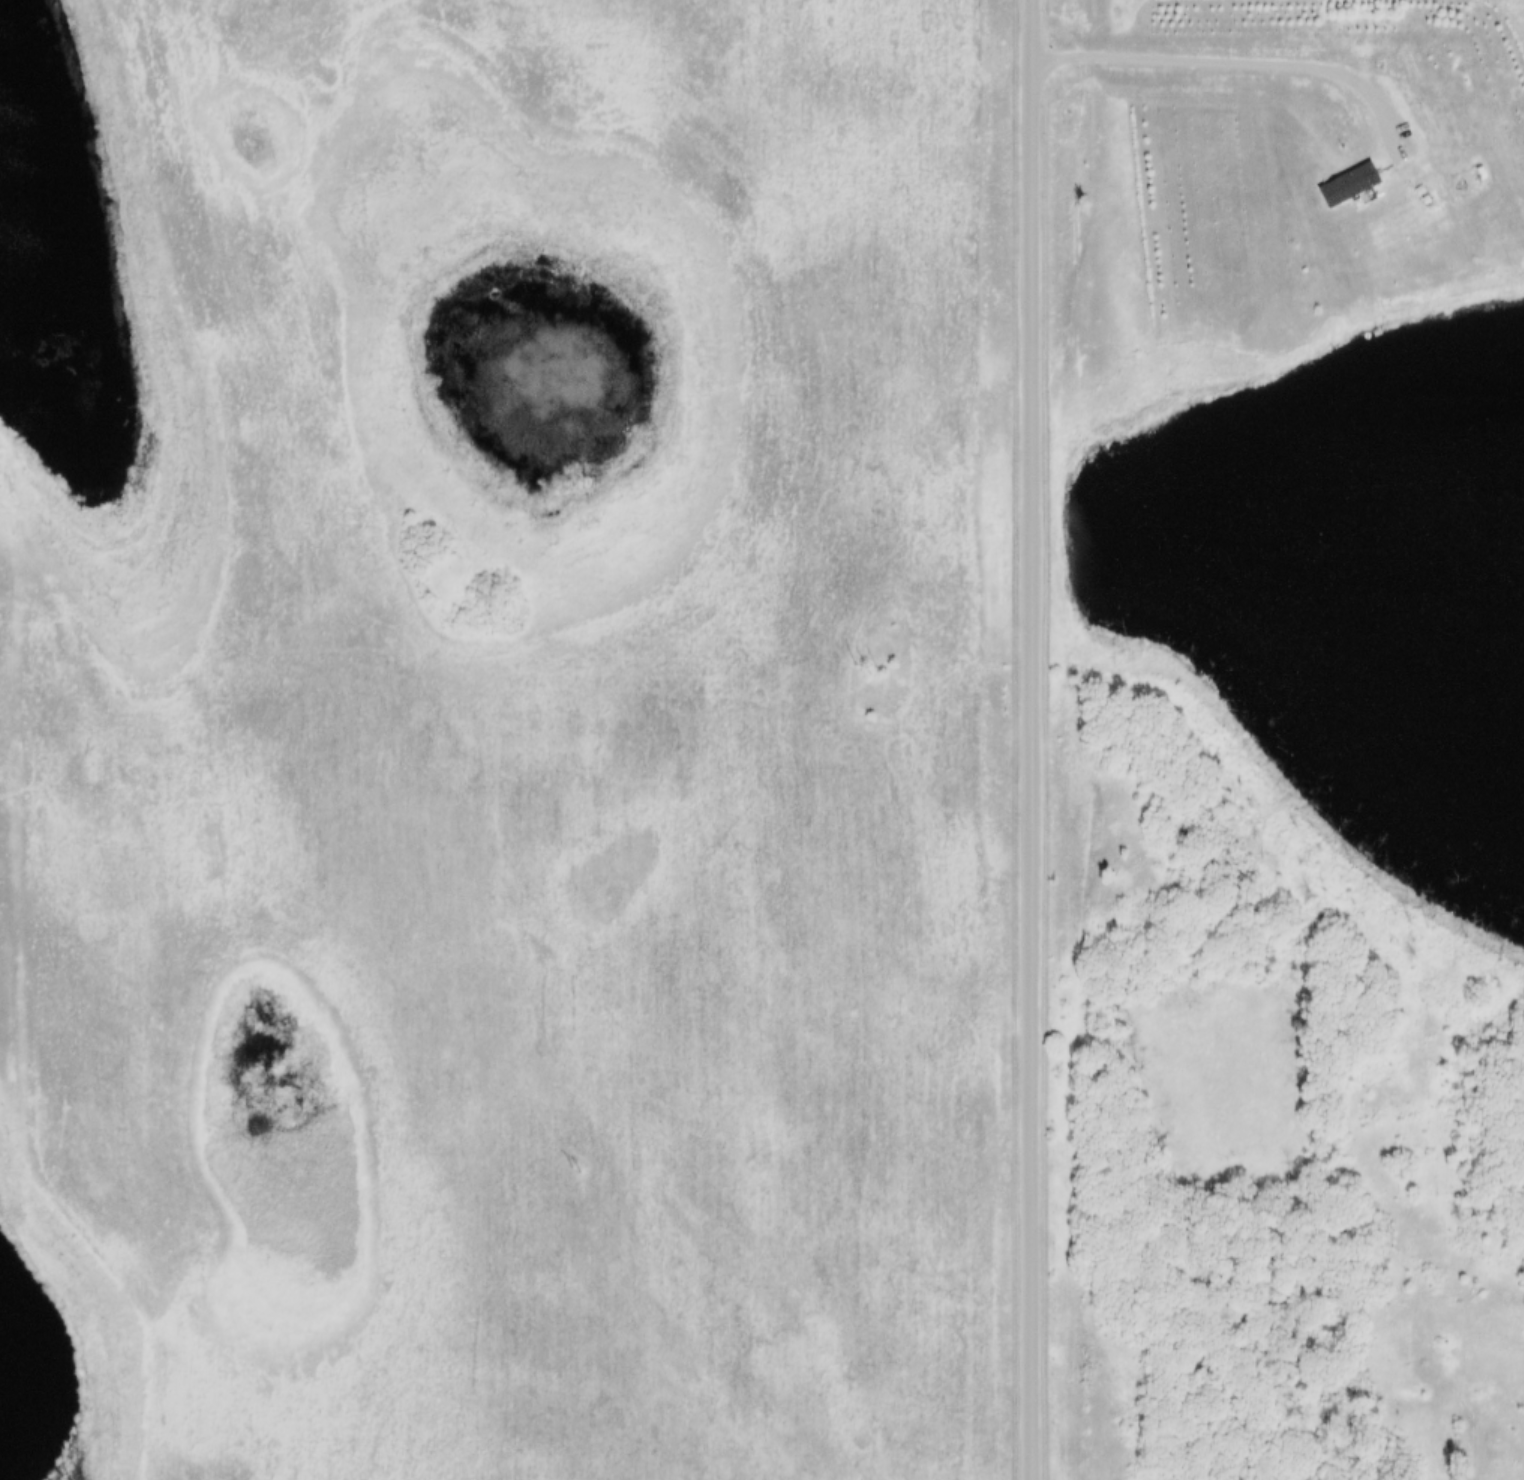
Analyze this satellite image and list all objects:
building: (1334, 175)
road: (1029, 739)

